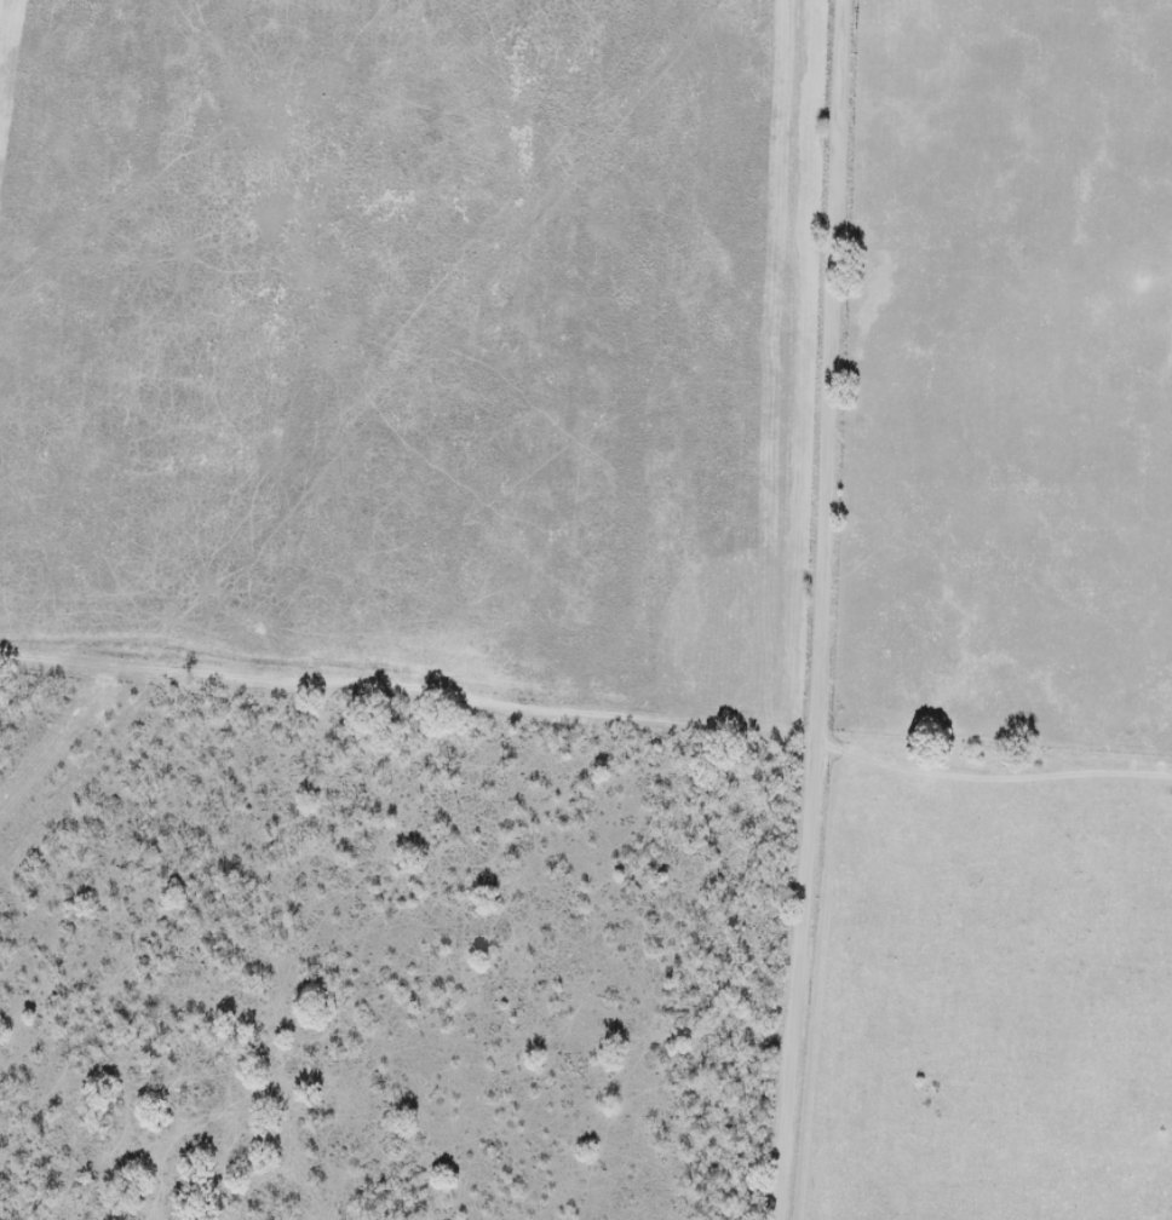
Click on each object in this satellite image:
road: (821, 610)
road: (993, 761)

